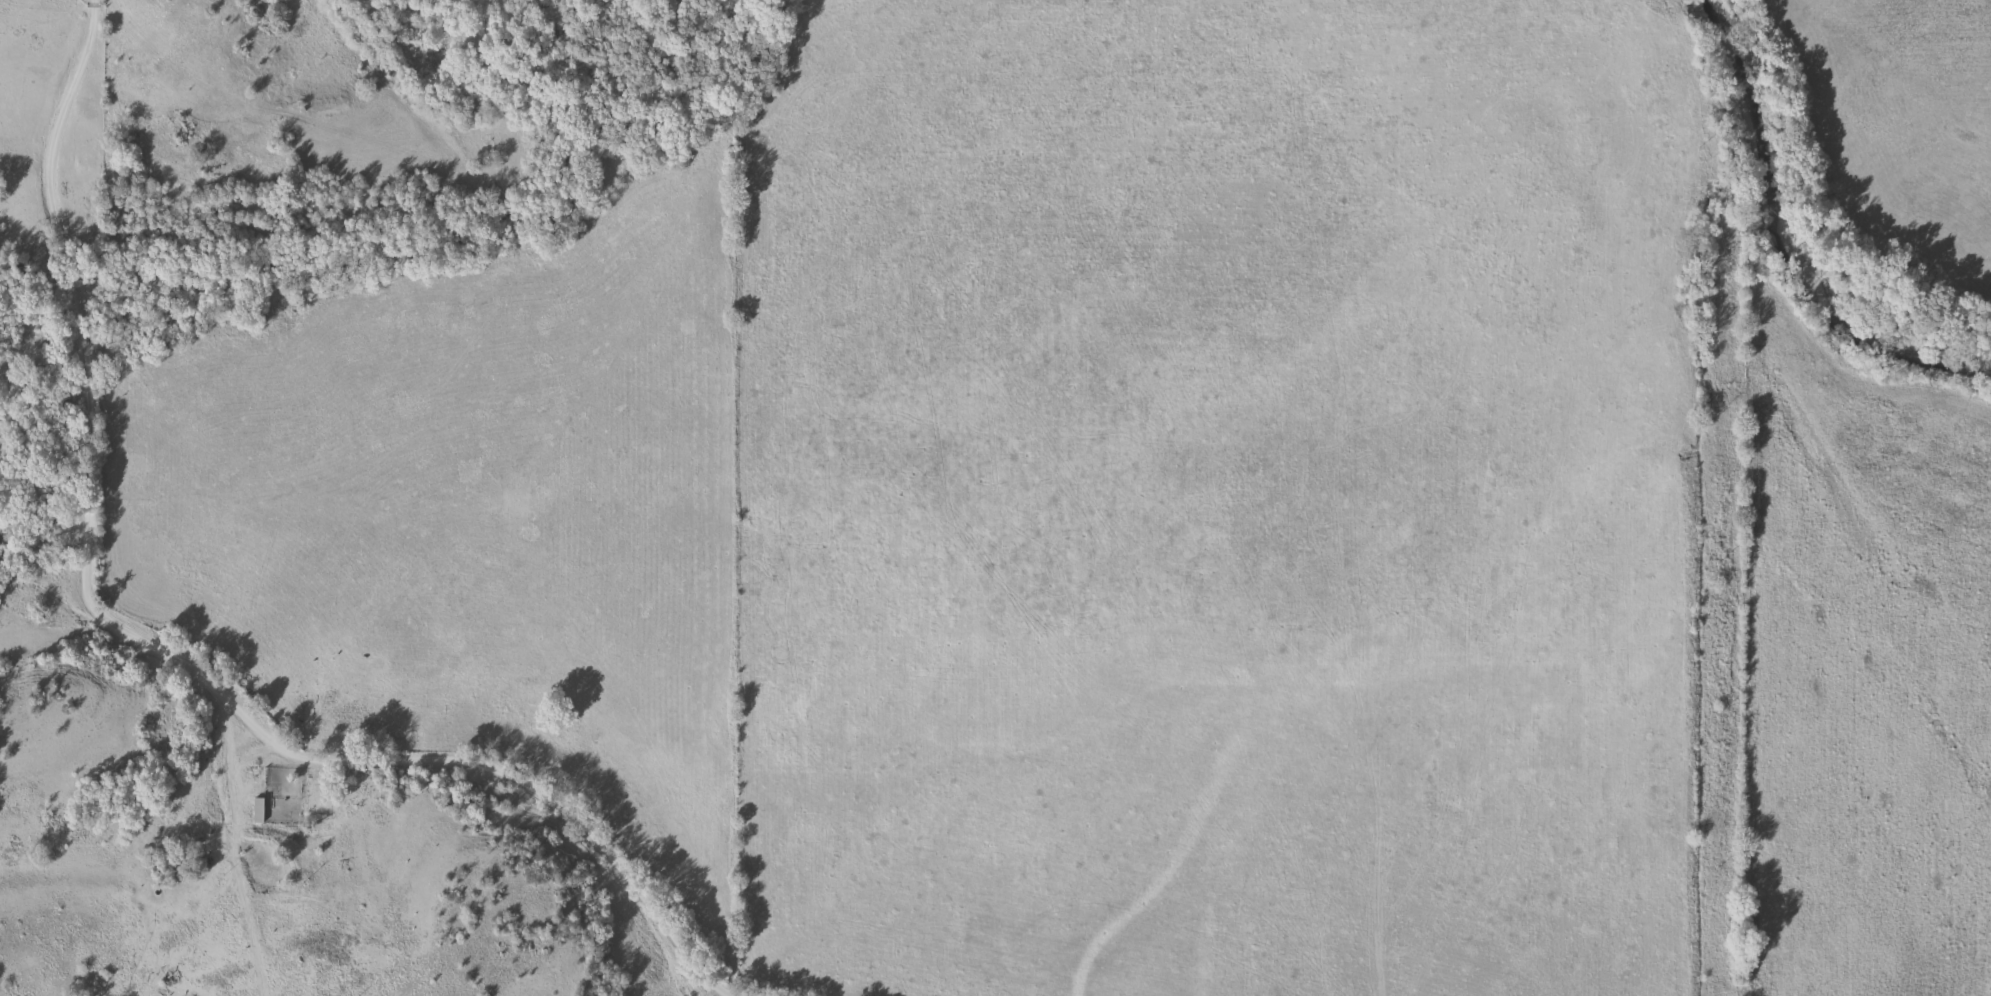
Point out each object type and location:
road: (43, 33)
road: (174, 663)
building: (256, 812)
road: (230, 858)

